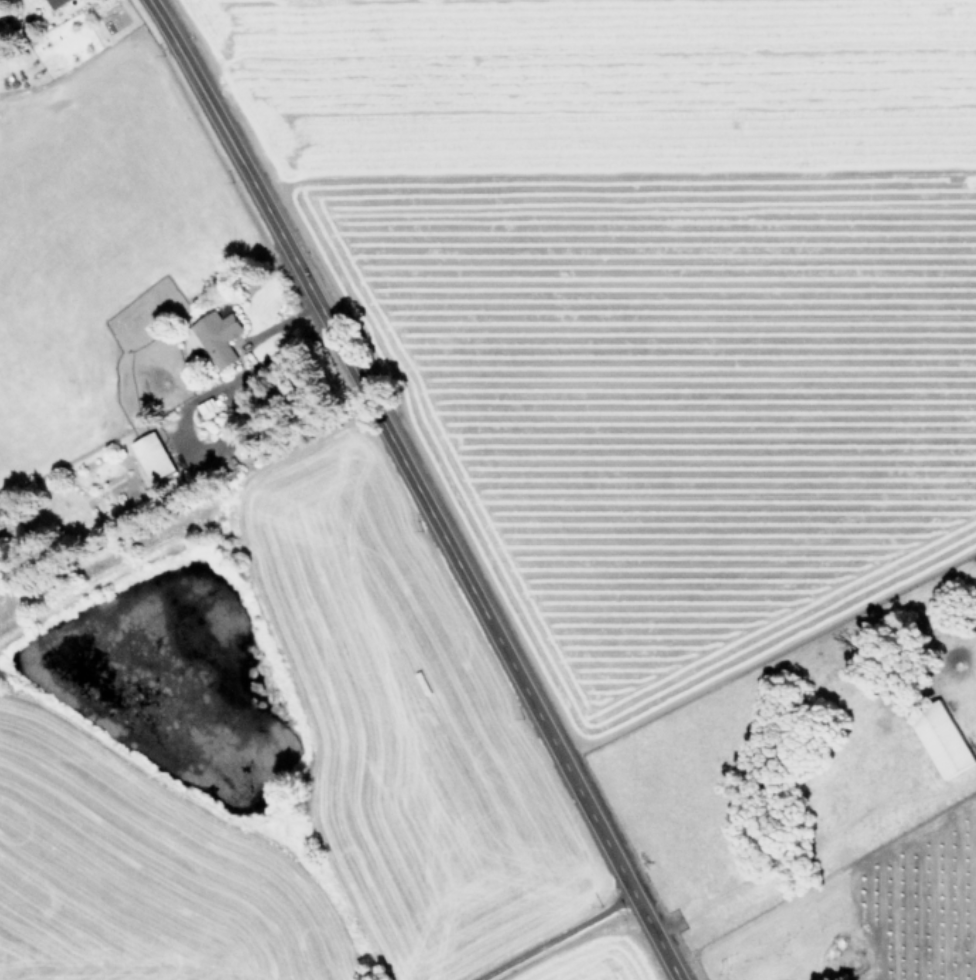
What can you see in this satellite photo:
building: (56, 3)
building: (221, 335)
crop: (688, 411)
building: (155, 455)
road: (415, 488)
crop: (223, 603)
building: (944, 738)
road: (772, 863)
road: (552, 937)

